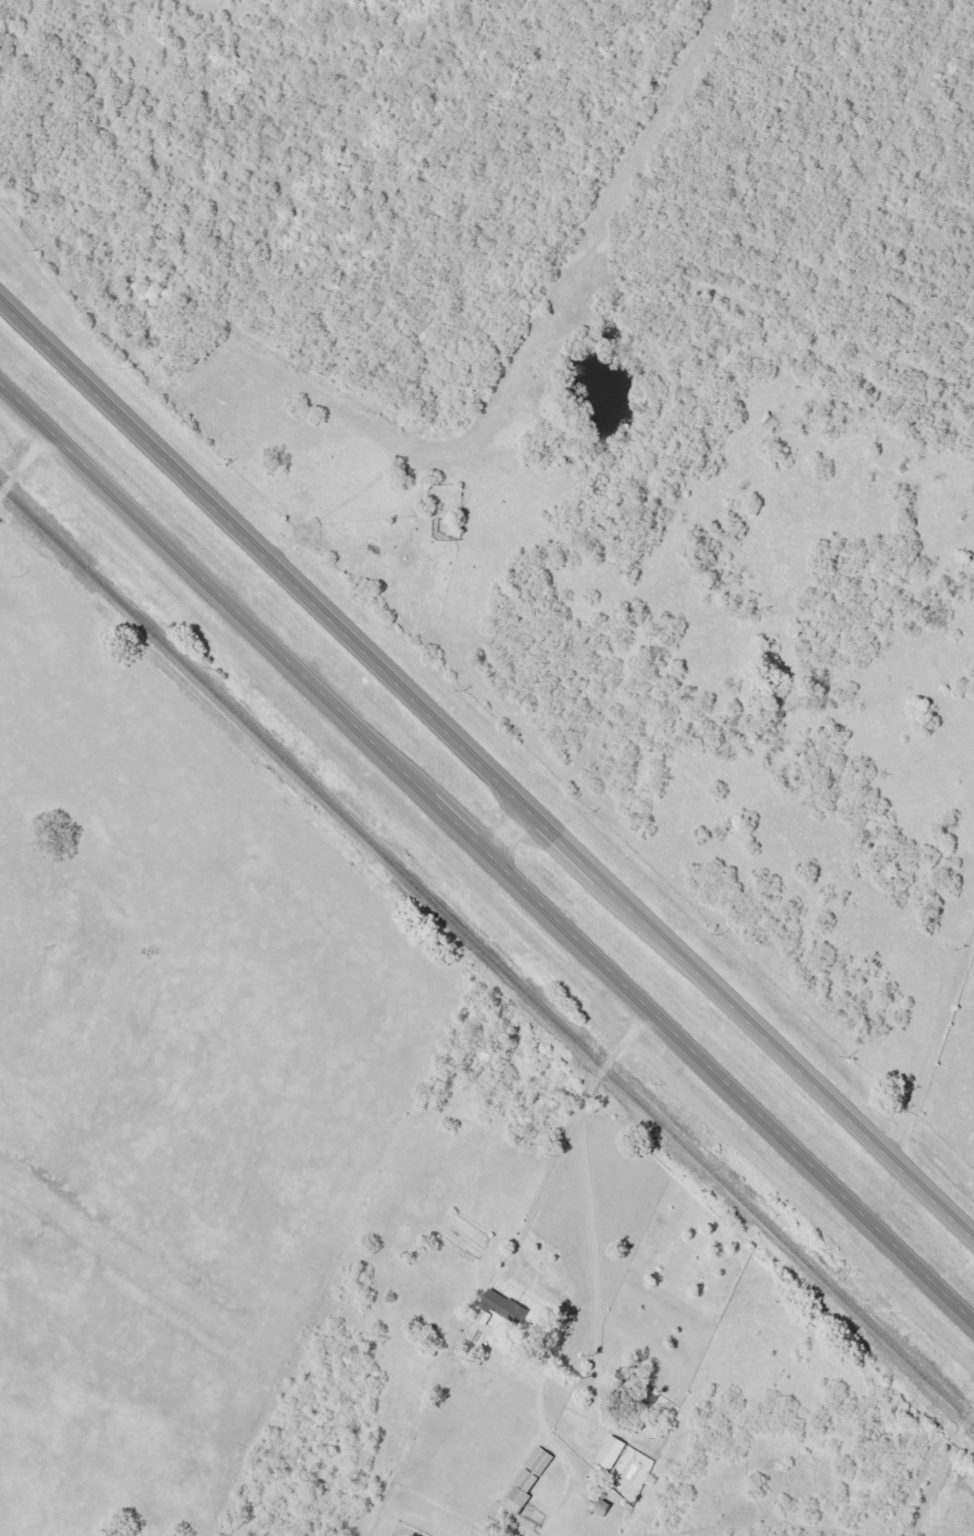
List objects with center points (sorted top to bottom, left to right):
road: (22, 461)
road: (490, 766)
road: (509, 829)
road: (487, 854)
railway: (487, 957)
road: (931, 1039)
building: (495, 1308)
building: (607, 1452)
building: (536, 1461)
road: (936, 1470)
building: (517, 1491)
building: (596, 1506)

